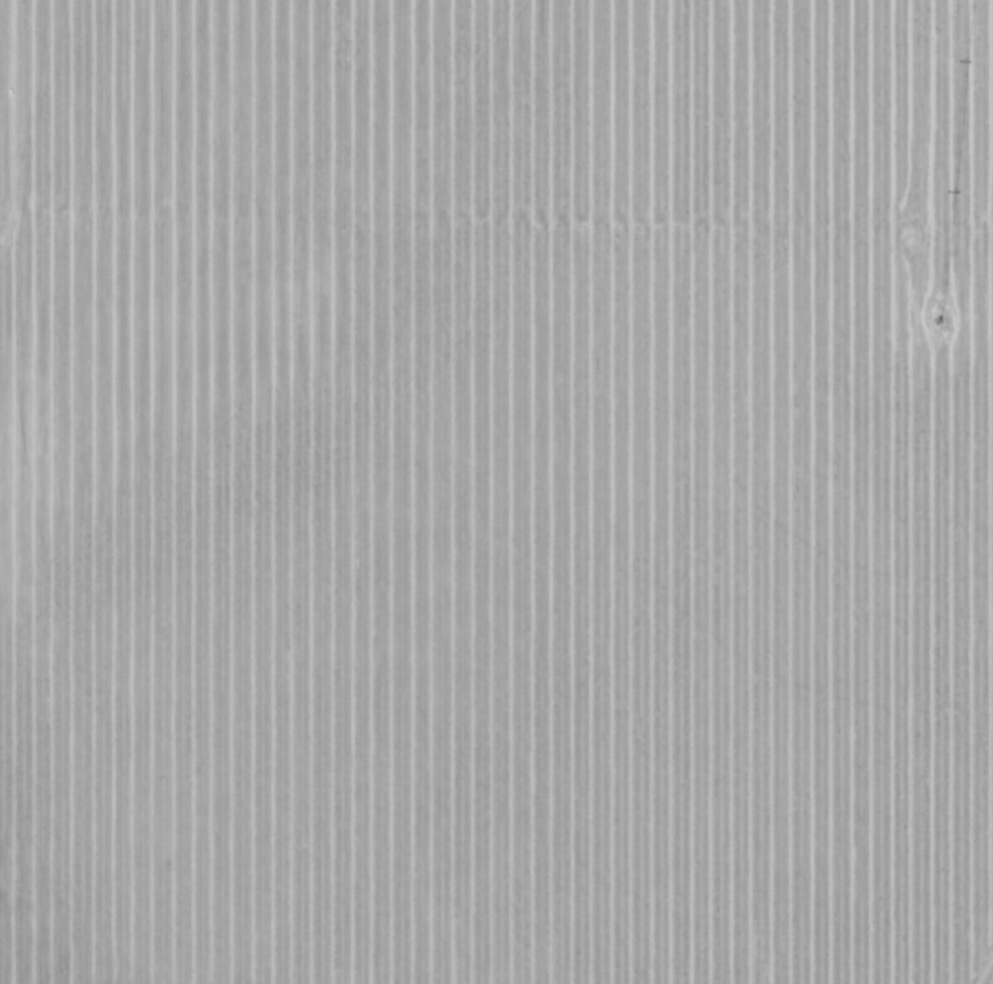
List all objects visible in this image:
crop: (496, 492)

